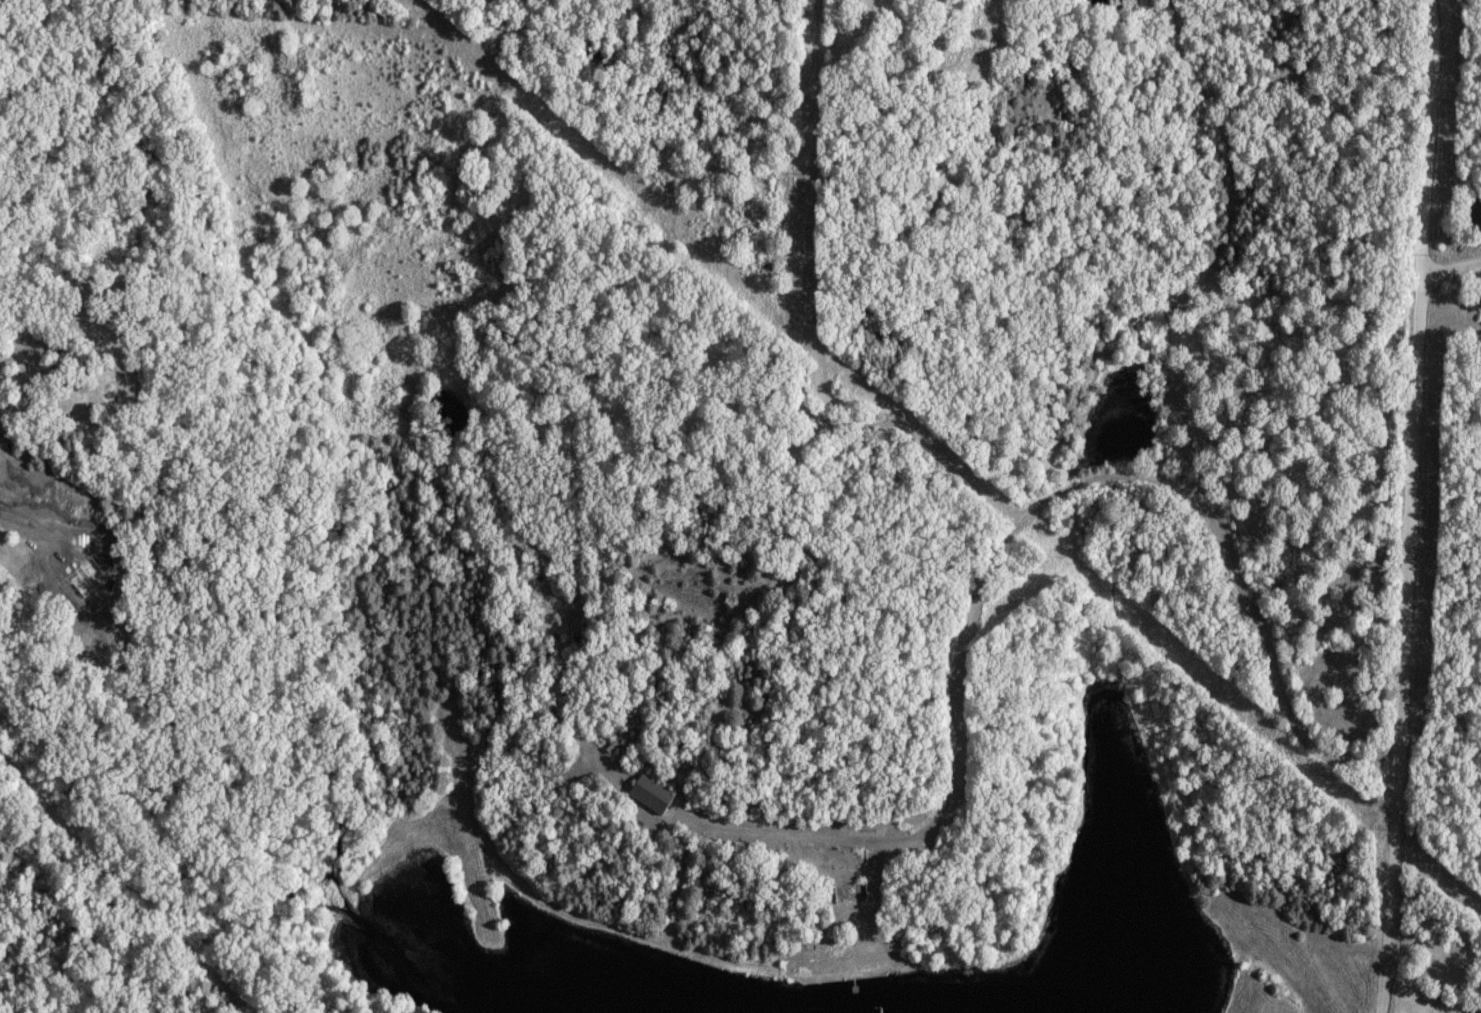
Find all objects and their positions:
road: (1220, 129)
building: (1477, 213)
road: (1449, 265)
road: (794, 338)
road: (35, 405)
road: (1405, 506)
road: (998, 544)
building: (652, 794)
building: (756, 813)
road: (126, 885)

